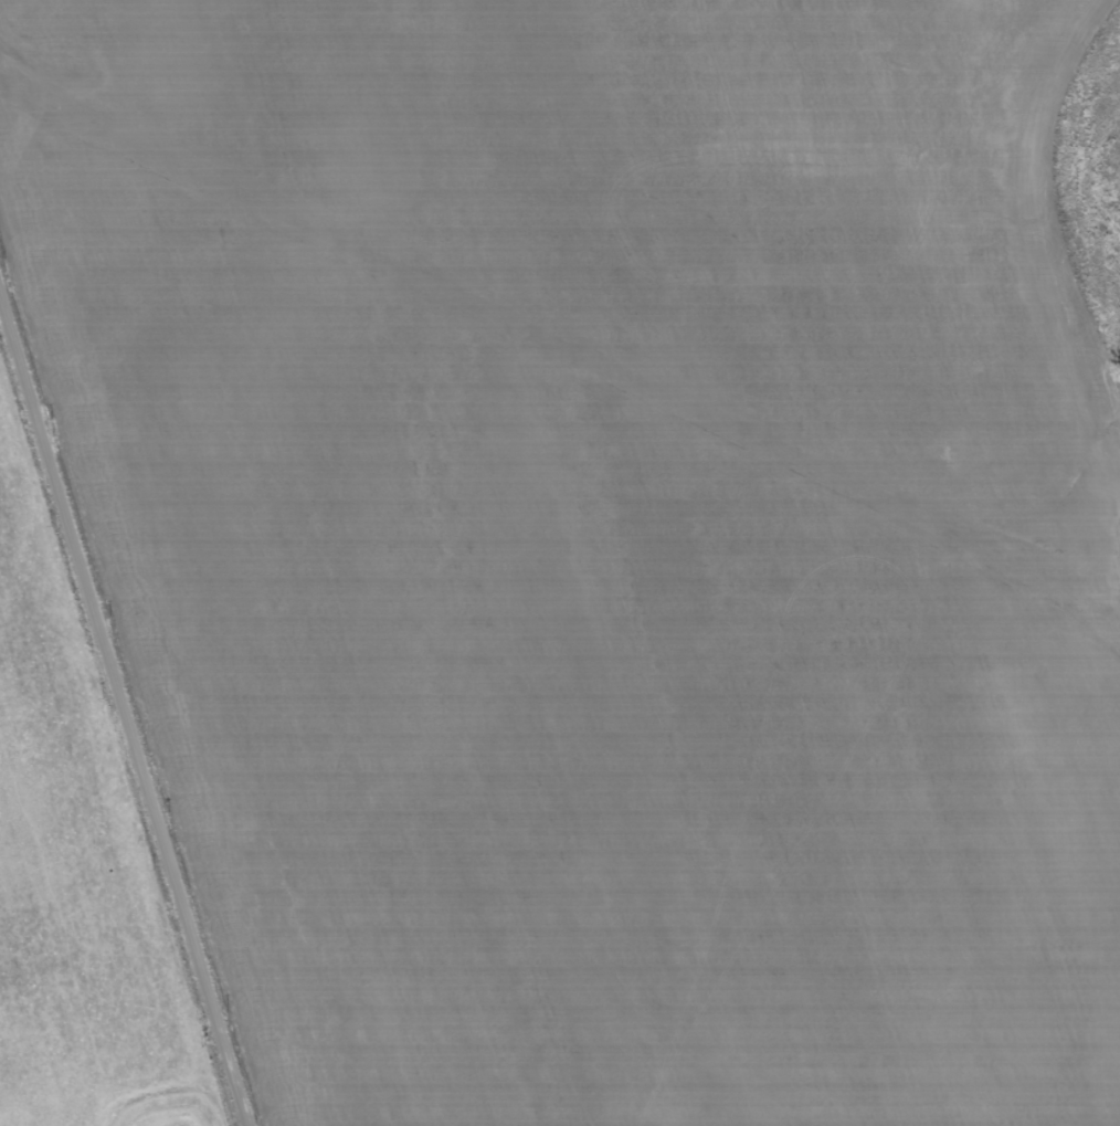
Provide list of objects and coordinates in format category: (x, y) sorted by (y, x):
road: (127, 699)

